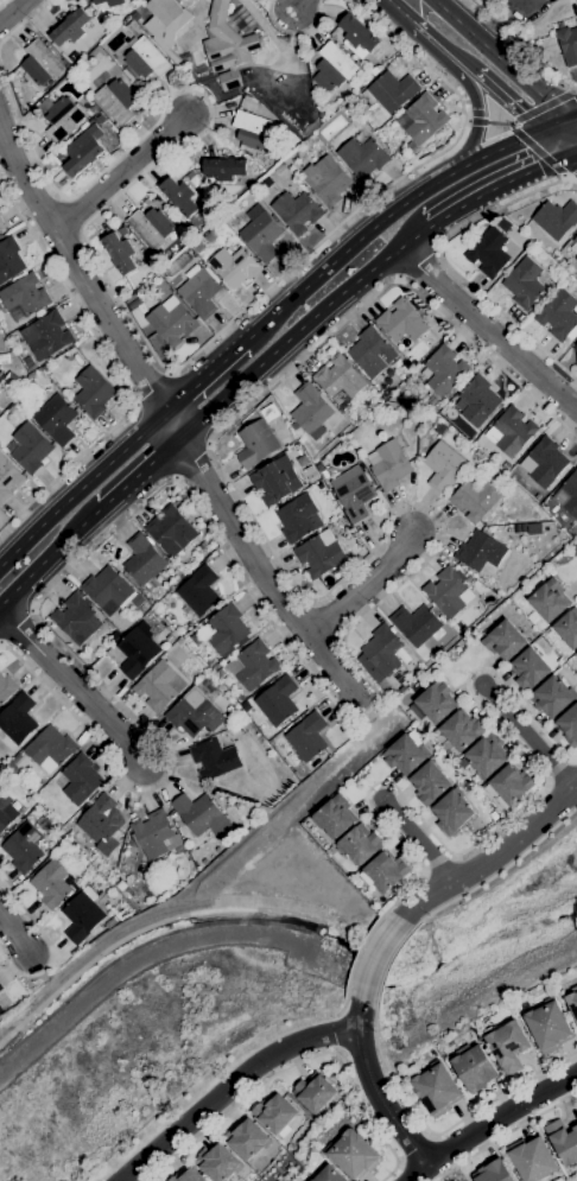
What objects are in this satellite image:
road: (525, 0)
building: (109, 1)
road: (2, 2)
road: (298, 4)
road: (400, 8)
road: (12, 9)
road: (399, 12)
building: (135, 17)
road: (23, 20)
building: (576, 20)
road: (292, 21)
building: (165, 24)
road: (527, 24)
road: (502, 25)
building: (70, 26)
road: (294, 32)
building: (357, 36)
road: (444, 44)
building: (568, 44)
building: (227, 47)
road: (515, 49)
building: (142, 59)
road: (500, 59)
building: (40, 63)
building: (65, 64)
building: (334, 68)
building: (374, 70)
building: (202, 74)
road: (468, 87)
road: (288, 88)
building: (389, 90)
building: (247, 97)
building: (115, 100)
road: (508, 100)
building: (91, 107)
building: (62, 116)
building: (421, 120)
road: (571, 120)
traffic signals: (565, 122)
road: (553, 126)
building: (253, 129)
traffic signals: (543, 129)
road: (571, 135)
road: (559, 140)
building: (313, 141)
building: (332, 144)
building: (82, 152)
building: (58, 154)
building: (362, 155)
building: (302, 164)
building: (223, 167)
building: (279, 169)
road: (121, 172)
building: (189, 174)
building: (326, 179)
road: (505, 180)
building: (178, 196)
building: (297, 210)
building: (201, 215)
building: (556, 218)
road: (380, 220)
building: (502, 220)
building: (1, 224)
building: (151, 226)
building: (122, 230)
building: (261, 235)
building: (182, 236)
building: (207, 236)
building: (575, 245)
building: (196, 246)
building: (164, 252)
building: (489, 252)
building: (119, 253)
building: (576, 258)
building: (8, 259)
road: (445, 263)
building: (234, 266)
building: (525, 282)
building: (199, 290)
building: (24, 294)
building: (137, 306)
road: (128, 311)
building: (558, 315)
building: (401, 319)
building: (171, 320)
road: (309, 328)
road: (487, 330)
building: (43, 336)
building: (575, 347)
building: (370, 351)
building: (31, 367)
building: (44, 368)
building: (444, 369)
road: (113, 372)
road: (204, 376)
building: (0, 379)
building: (338, 381)
road: (150, 387)
building: (370, 388)
building: (93, 392)
building: (385, 394)
building: (476, 401)
building: (11, 408)
building: (310, 409)
building: (270, 412)
building: (413, 413)
road: (170, 415)
building: (56, 419)
building: (442, 430)
building: (513, 431)
building: (285, 440)
building: (255, 443)
building: (297, 446)
building: (30, 447)
building: (544, 462)
building: (388, 464)
building: (443, 465)
building: (505, 465)
building: (319, 466)
road: (142, 477)
building: (313, 477)
building: (8, 478)
building: (275, 480)
road: (82, 485)
building: (569, 493)
building: (354, 494)
building: (475, 499)
building: (296, 518)
building: (516, 528)
building: (571, 529)
building: (170, 531)
building: (202, 545)
building: (480, 551)
building: (319, 553)
building: (142, 560)
road: (51, 563)
building: (469, 579)
road: (360, 584)
building: (109, 589)
building: (448, 591)
building: (197, 592)
building: (550, 599)
building: (533, 617)
building: (76, 618)
building: (416, 623)
building: (226, 628)
building: (568, 628)
building: (115, 635)
building: (505, 641)
building: (137, 649)
building: (576, 653)
building: (380, 654)
road: (349, 655)
building: (252, 665)
building: (528, 668)
building: (157, 686)
building: (6, 687)
road: (75, 688)
building: (551, 697)
building: (277, 700)
building: (433, 701)
building: (196, 712)
road: (489, 717)
building: (17, 720)
building: (569, 725)
building: (461, 730)
building: (307, 736)
road: (527, 736)
building: (50, 748)
building: (405, 754)
building: (486, 755)
building: (214, 758)
building: (81, 779)
building: (429, 782)
building: (511, 782)
building: (6, 811)
building: (452, 811)
building: (201, 814)
building: (335, 815)
building: (494, 815)
building: (99, 820)
building: (43, 823)
building: (154, 834)
building: (186, 837)
road: (417, 839)
building: (360, 844)
road: (405, 846)
building: (23, 847)
road: (492, 857)
building: (386, 871)
building: (51, 883)
building: (120, 884)
building: (112, 907)
building: (82, 915)
road: (13, 936)
road: (47, 944)
road: (372, 957)
building: (1, 988)
building: (4, 999)
building: (572, 1001)
building: (1, 1009)
road: (340, 1012)
road: (375, 1016)
building: (1, 1017)
building: (549, 1026)
road: (342, 1030)
building: (507, 1045)
road: (340, 1050)
building: (474, 1067)
road: (226, 1086)
road: (373, 1088)
building: (436, 1088)
building: (313, 1091)
road: (236, 1104)
building: (273, 1112)
road: (362, 1112)
road: (489, 1125)
road: (506, 1134)
building: (246, 1138)
building: (563, 1142)
building: (354, 1154)
building: (532, 1158)
building: (217, 1162)
road: (388, 1172)
building: (493, 1172)
building: (329, 1174)
building: (188, 1175)

